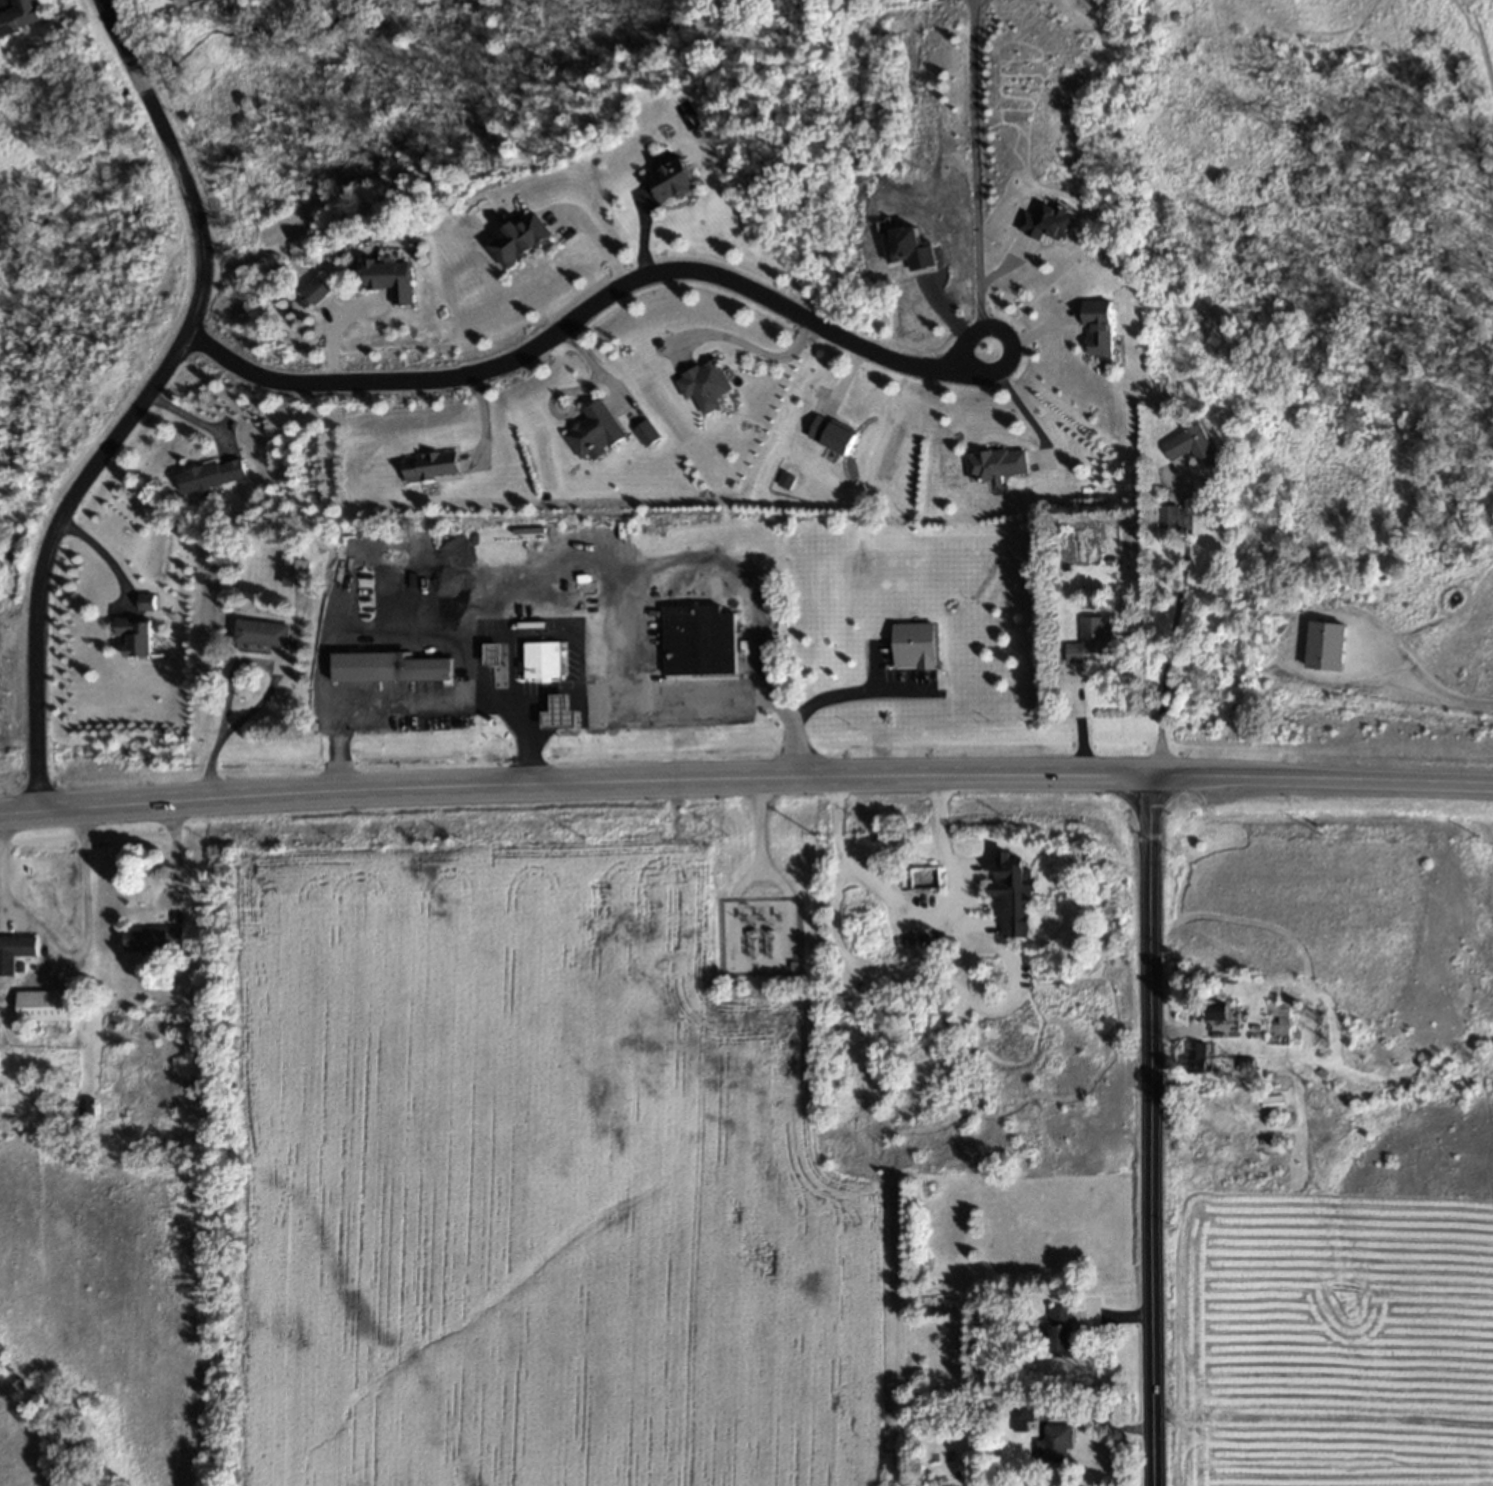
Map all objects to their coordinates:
building: (20, 16)
road: (978, 175)
building: (676, 179)
building: (1050, 221)
building: (521, 240)
building: (390, 279)
building: (317, 289)
road: (583, 304)
building: (1102, 327)
building: (704, 384)
road: (134, 399)
road: (1021, 401)
building: (593, 431)
building: (1192, 445)
building: (995, 464)
building: (430, 466)
building: (211, 475)
building: (1168, 516)
road: (101, 548)
building: (1253, 597)
building: (146, 602)
road: (1180, 630)
building: (264, 633)
building: (136, 635)
building: (1309, 638)
building: (1092, 640)
building: (698, 641)
building: (540, 660)
building: (390, 668)
road: (854, 689)
road: (1430, 697)
road: (556, 701)
building: (565, 718)
road: (521, 743)
road: (1320, 778)
road: (573, 782)
road: (175, 856)
building: (921, 878)
building: (1010, 893)
road: (894, 903)
road: (82, 934)
building: (154, 938)
building: (14, 952)
road: (910, 978)
building: (42, 1005)
building: (1219, 1014)
building: (1282, 1024)
road: (1189, 1032)
building: (1199, 1059)
road: (1145, 1130)
road: (1110, 1316)
building: (1059, 1332)
road: (1080, 1414)
building: (1019, 1415)
building: (1052, 1444)

